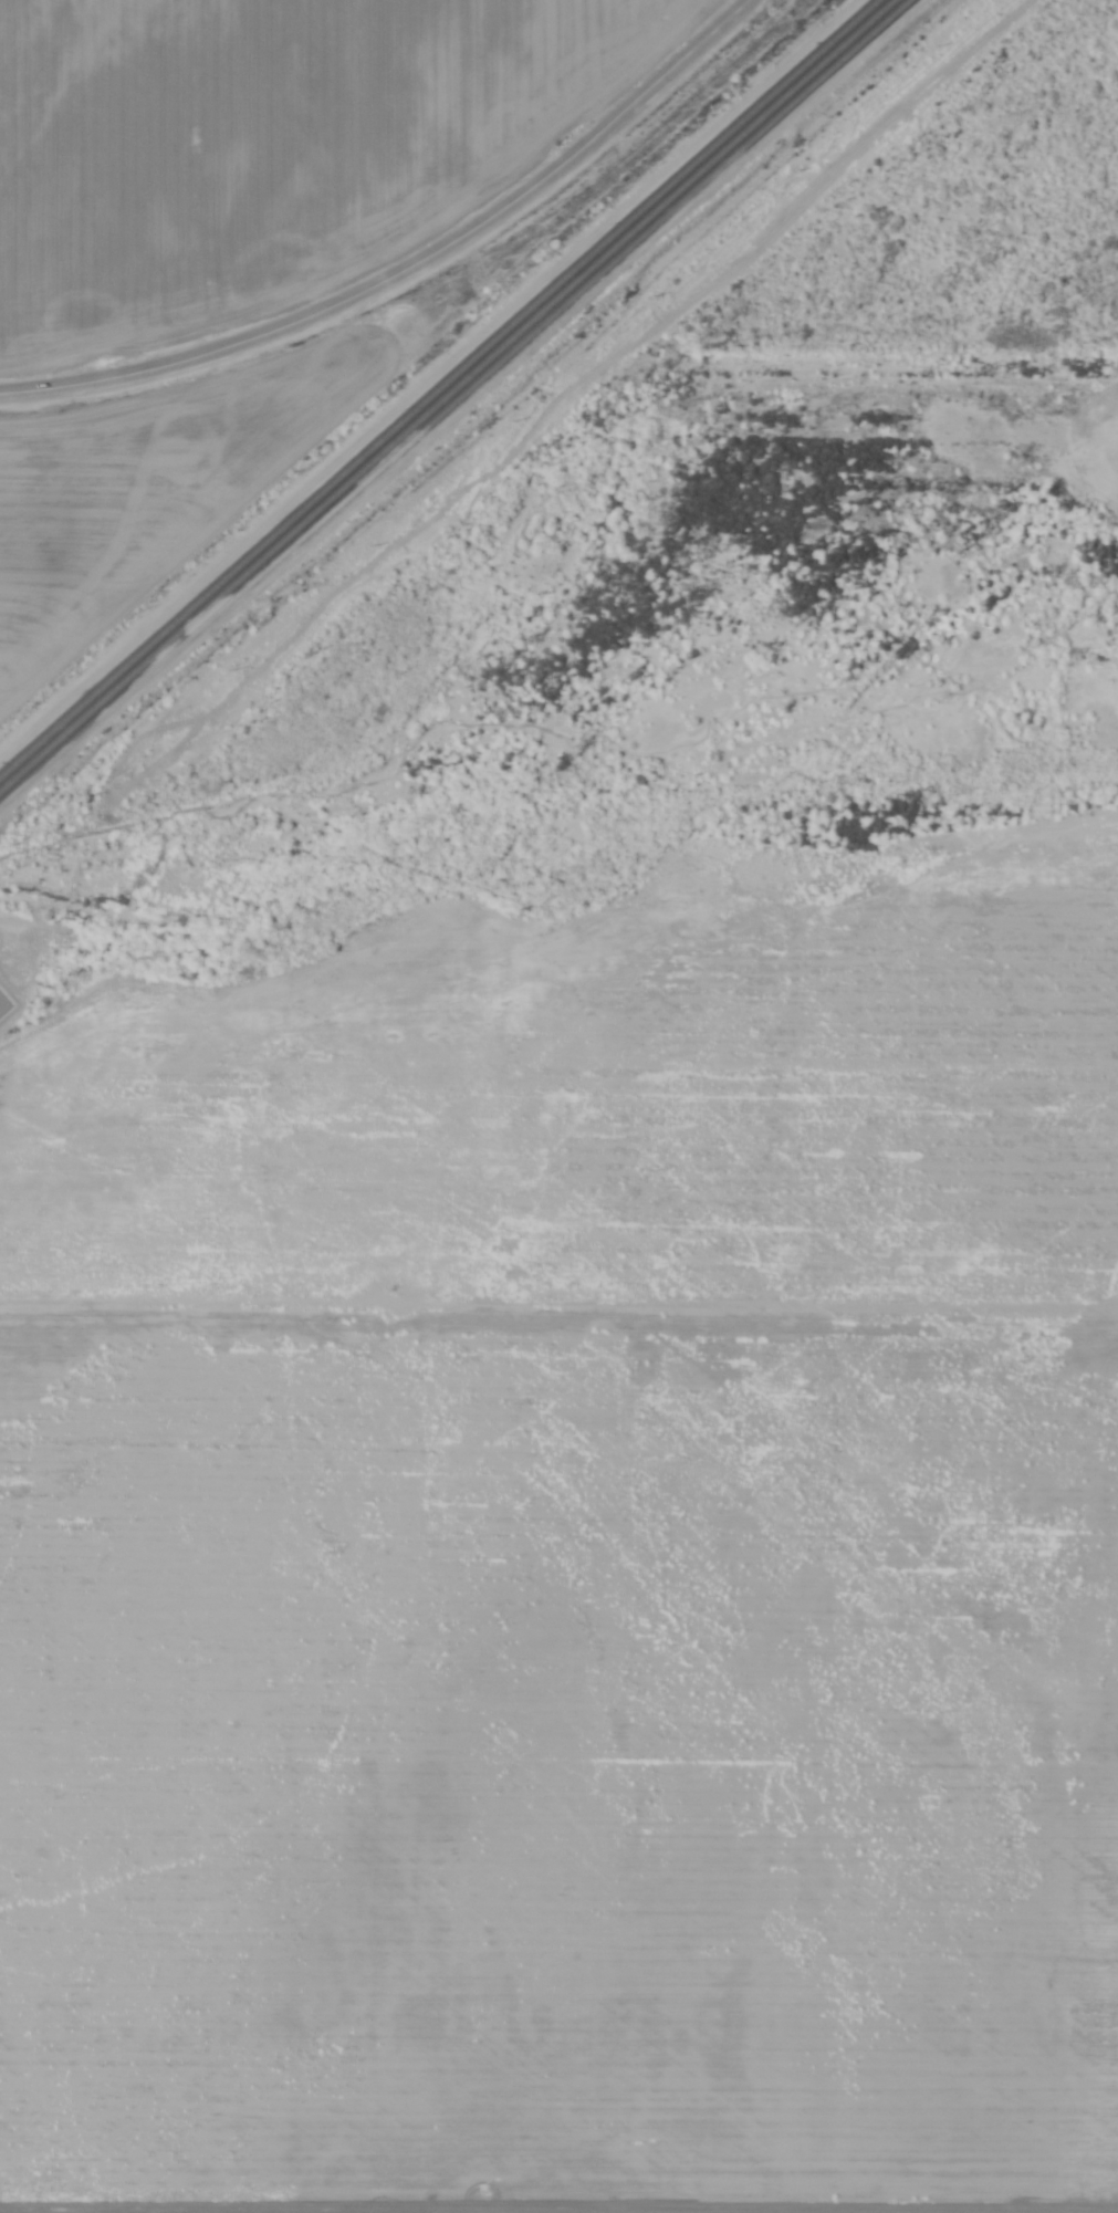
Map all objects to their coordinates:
road: (410, 267)
railway: (429, 382)
railway: (440, 389)
railway: (448, 397)
crop: (557, 1740)

